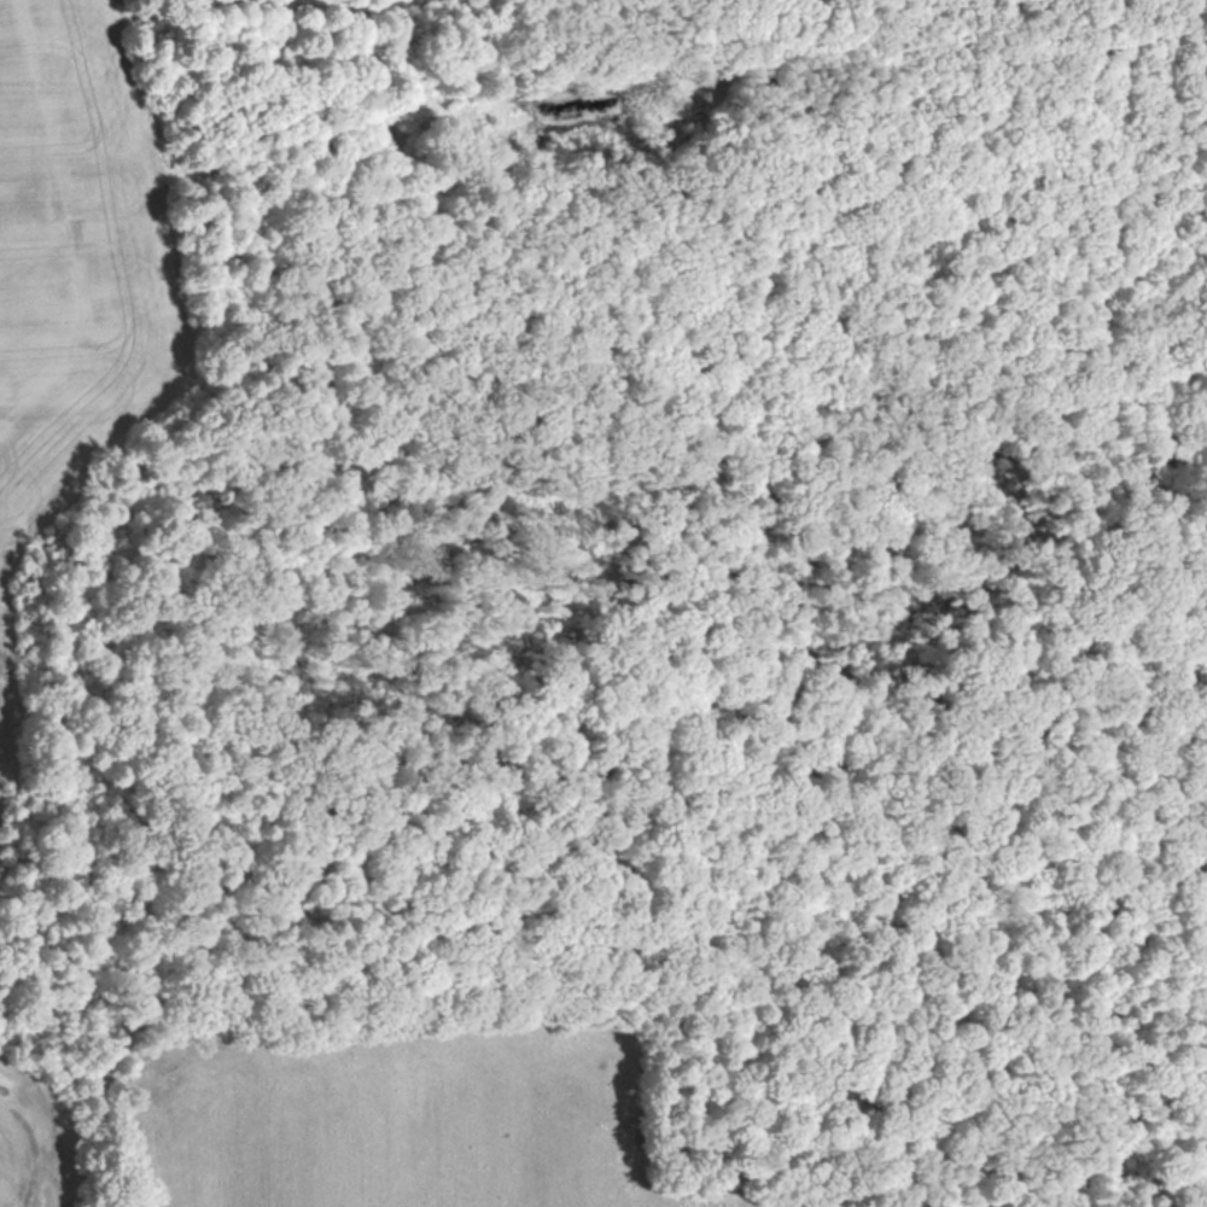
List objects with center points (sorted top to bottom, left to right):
building: (1203, 1206)

